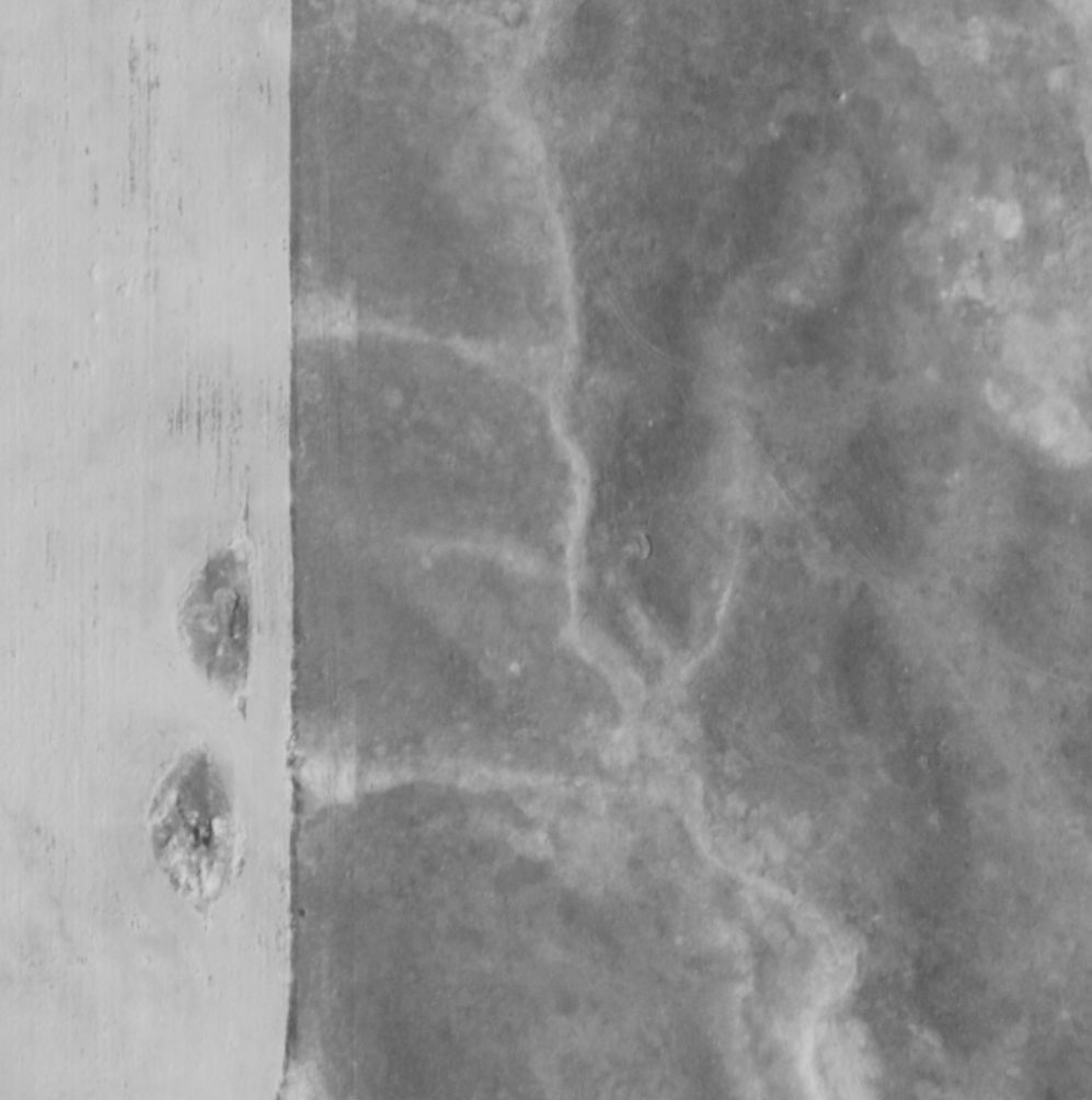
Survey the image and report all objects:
road: (88, 848)

